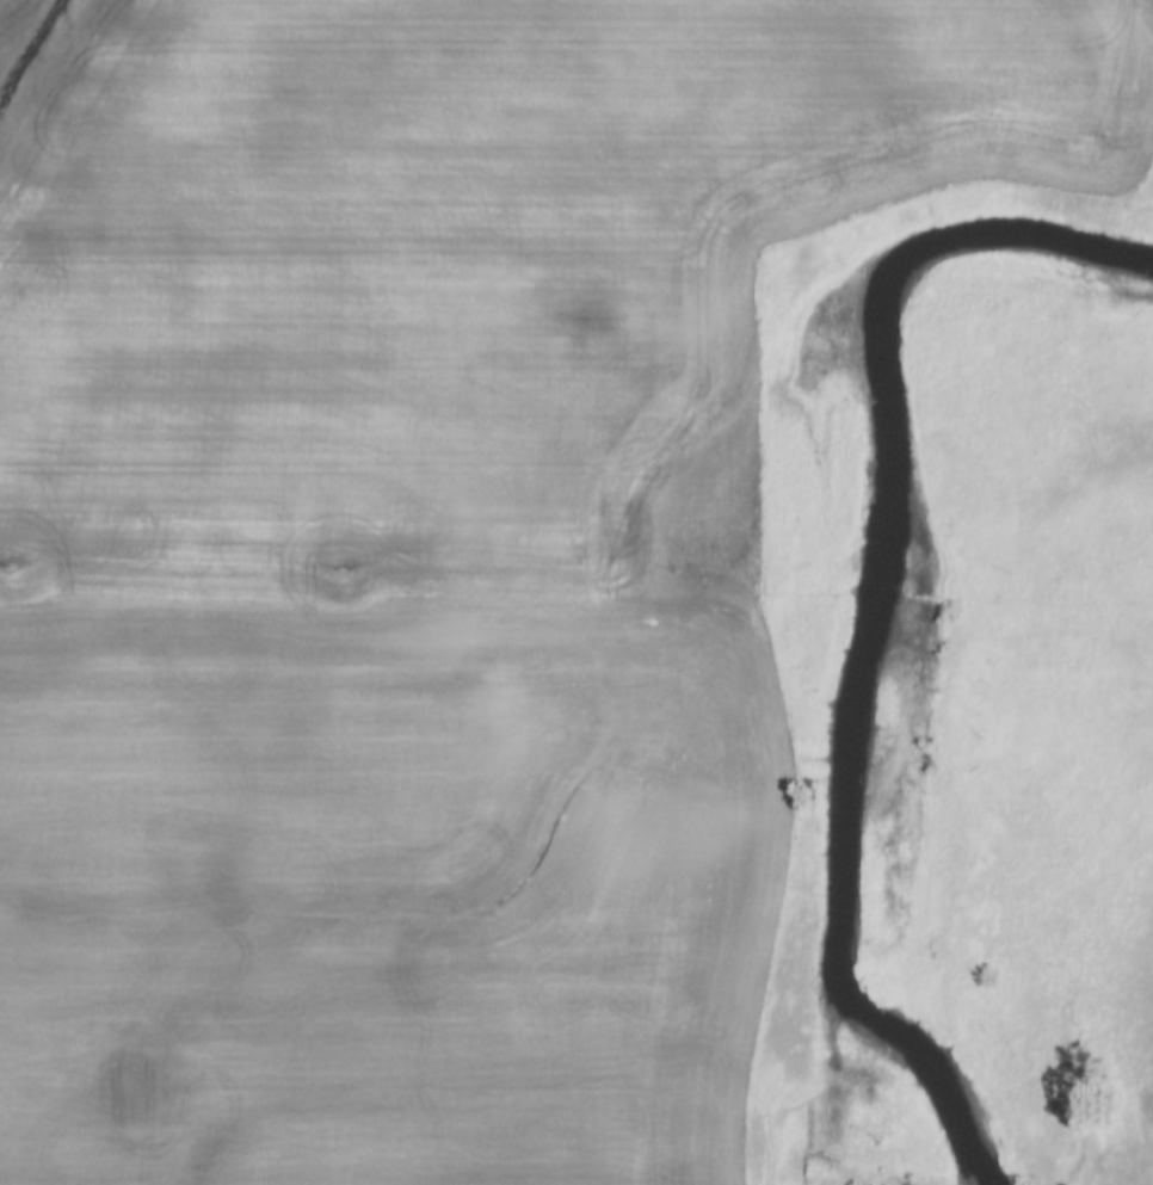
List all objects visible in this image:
river: (886, 604)

